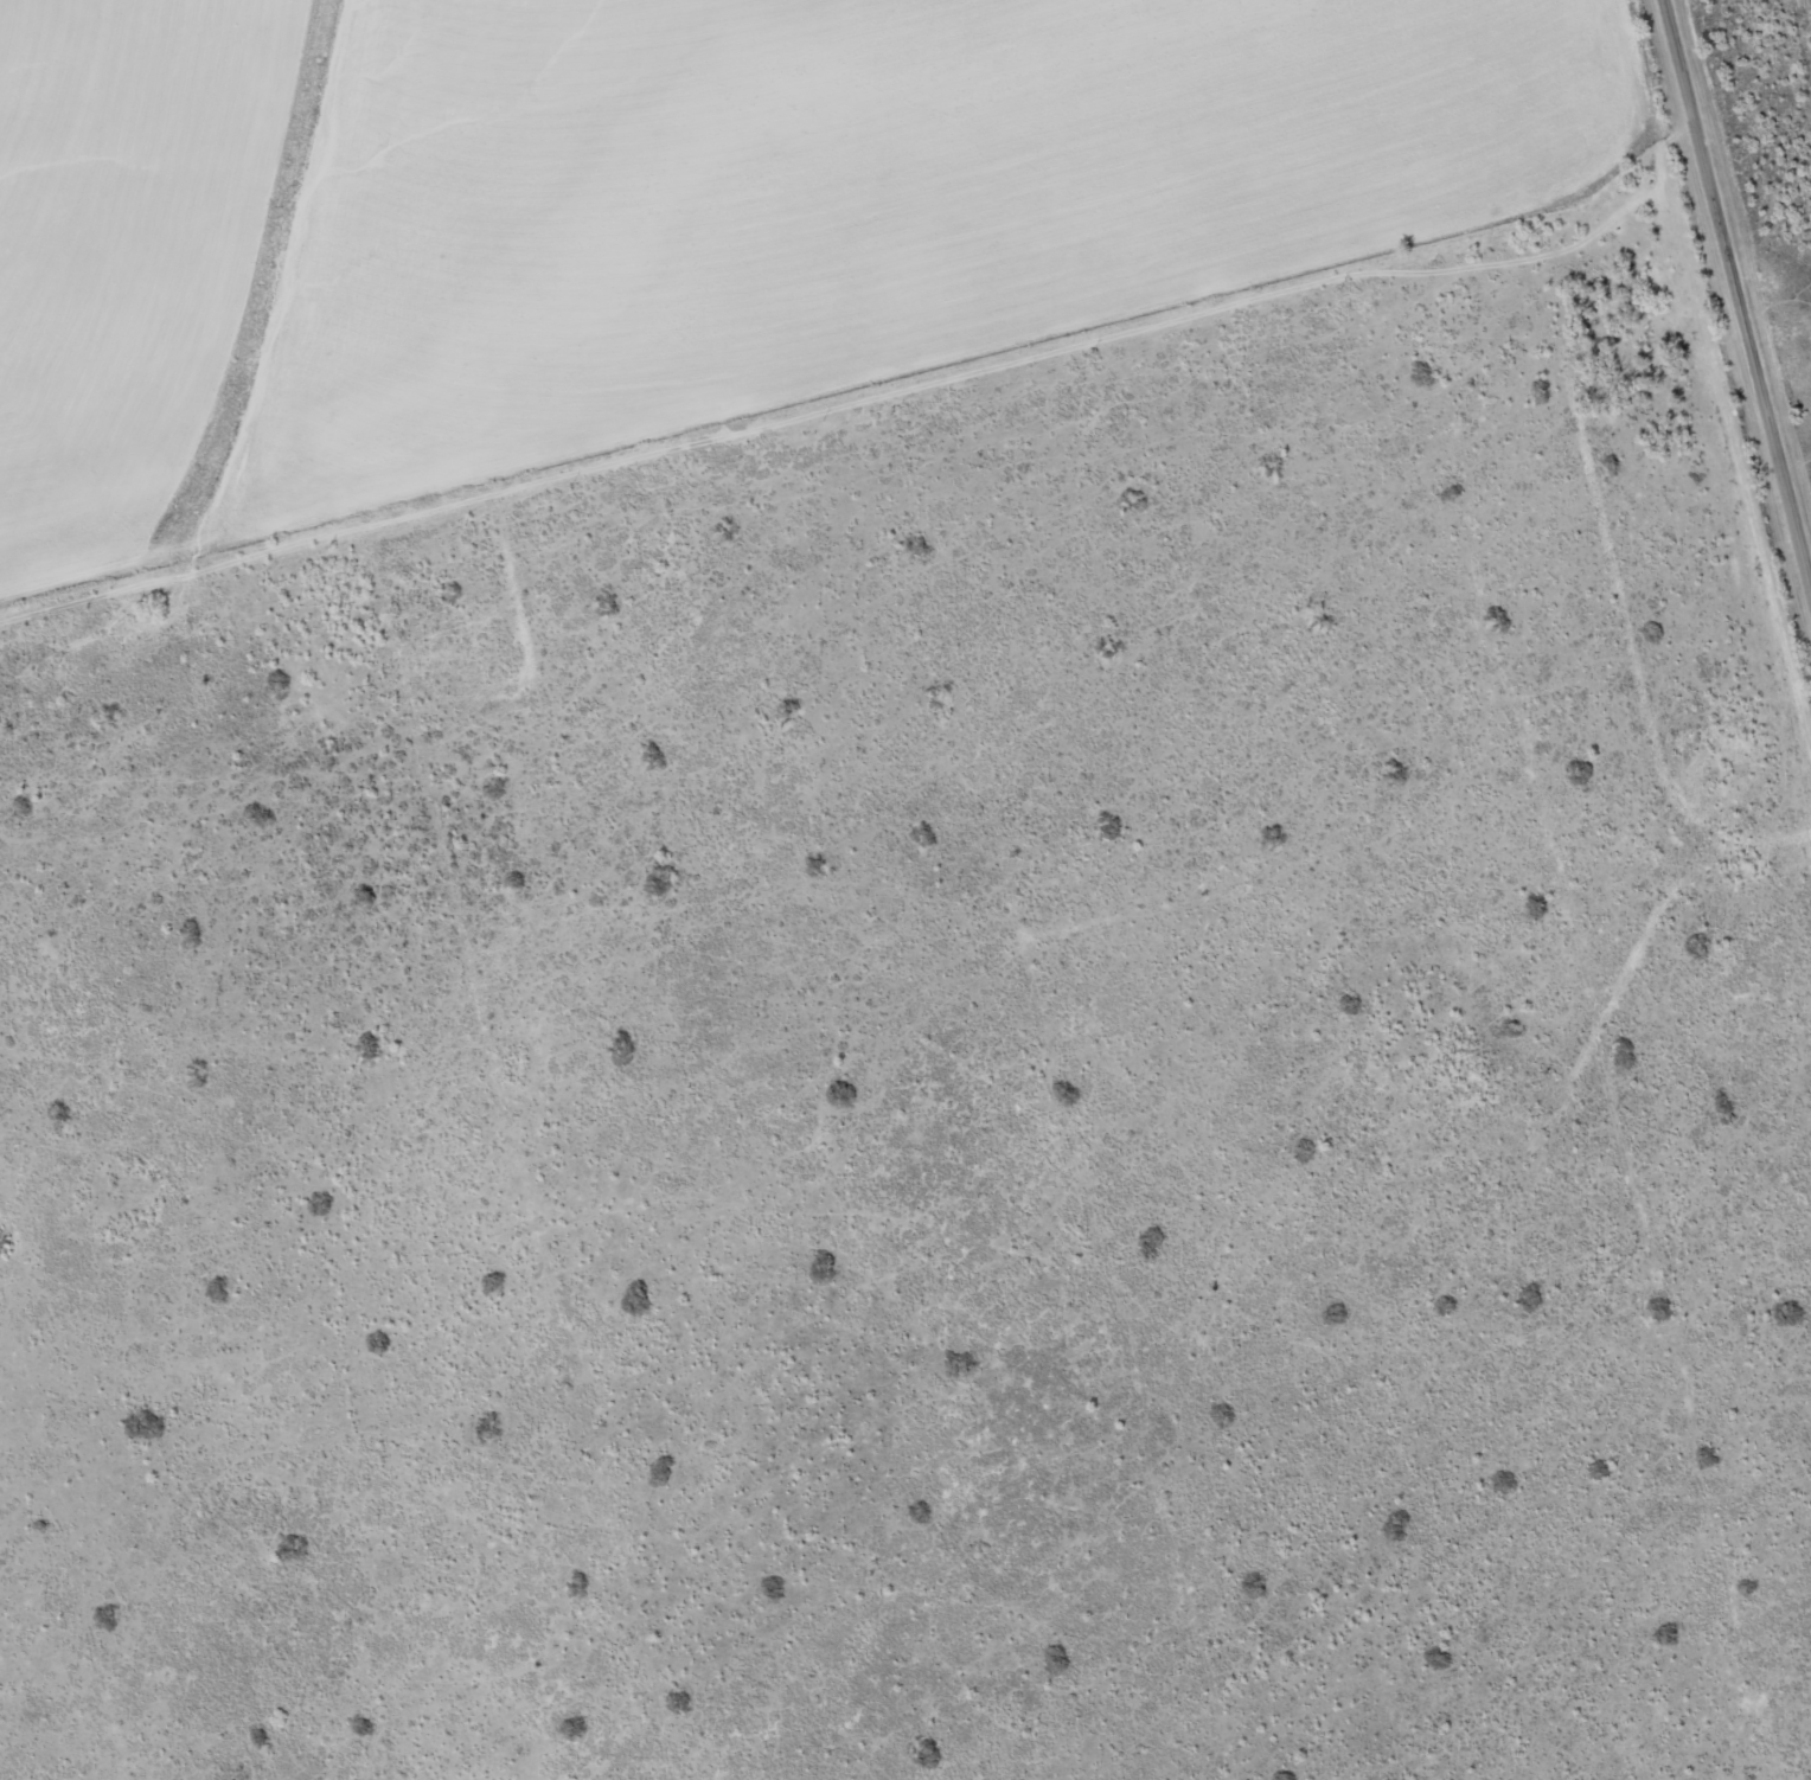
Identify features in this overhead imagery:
road: (1730, 307)

